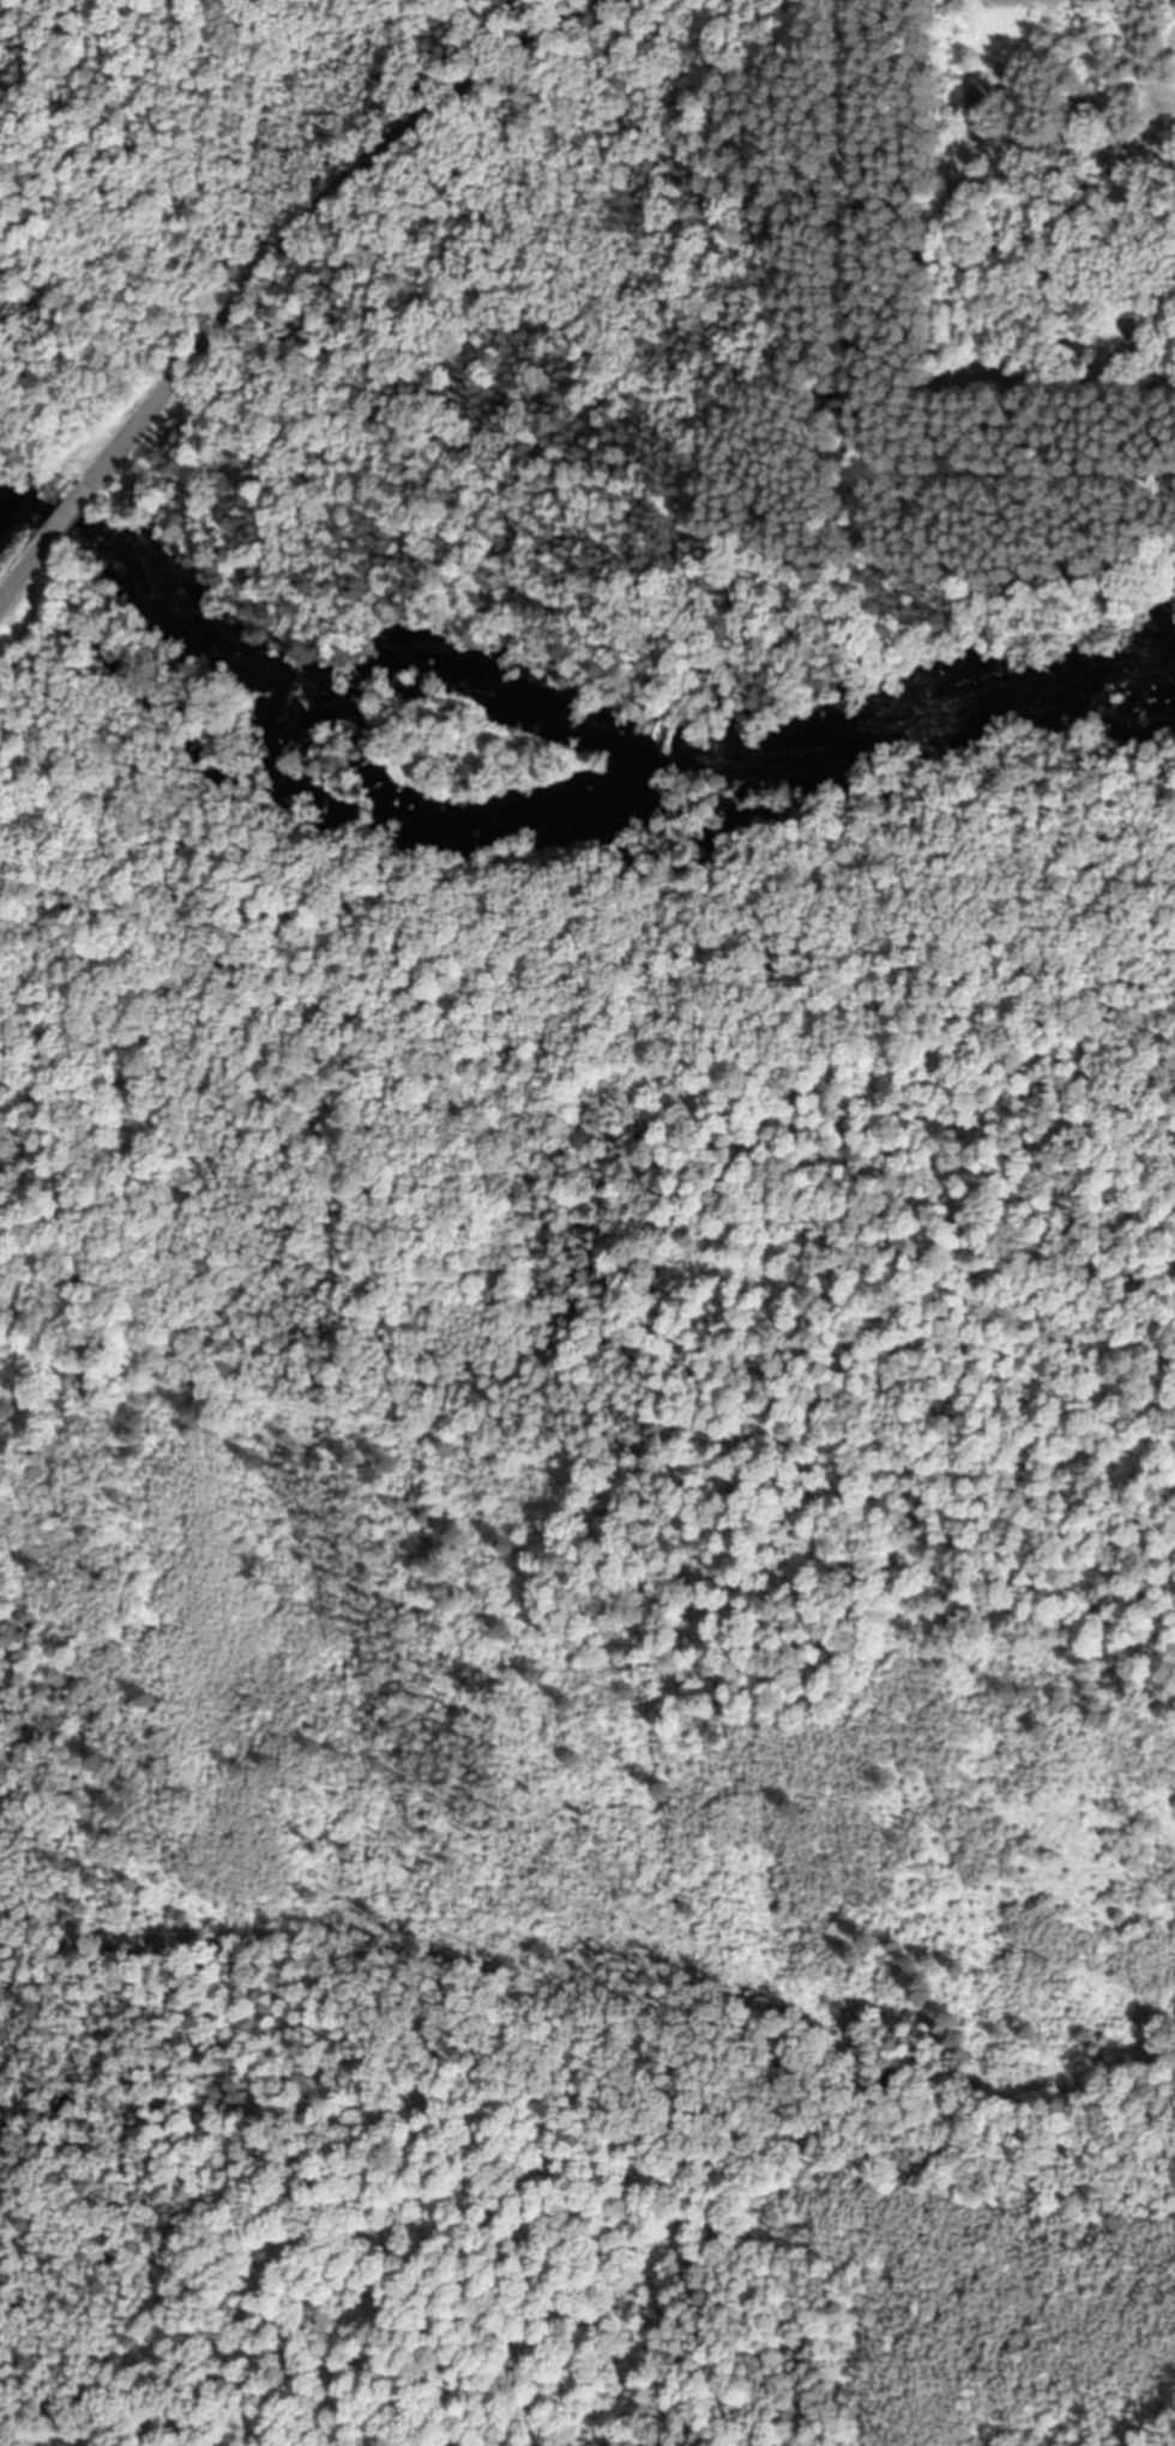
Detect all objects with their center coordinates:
road: (850, 116)
road: (880, 197)
road: (320, 204)
road: (1006, 379)
road: (1035, 481)
road: (71, 513)
park: (1025, 517)
road: (25, 574)
river: (546, 715)

